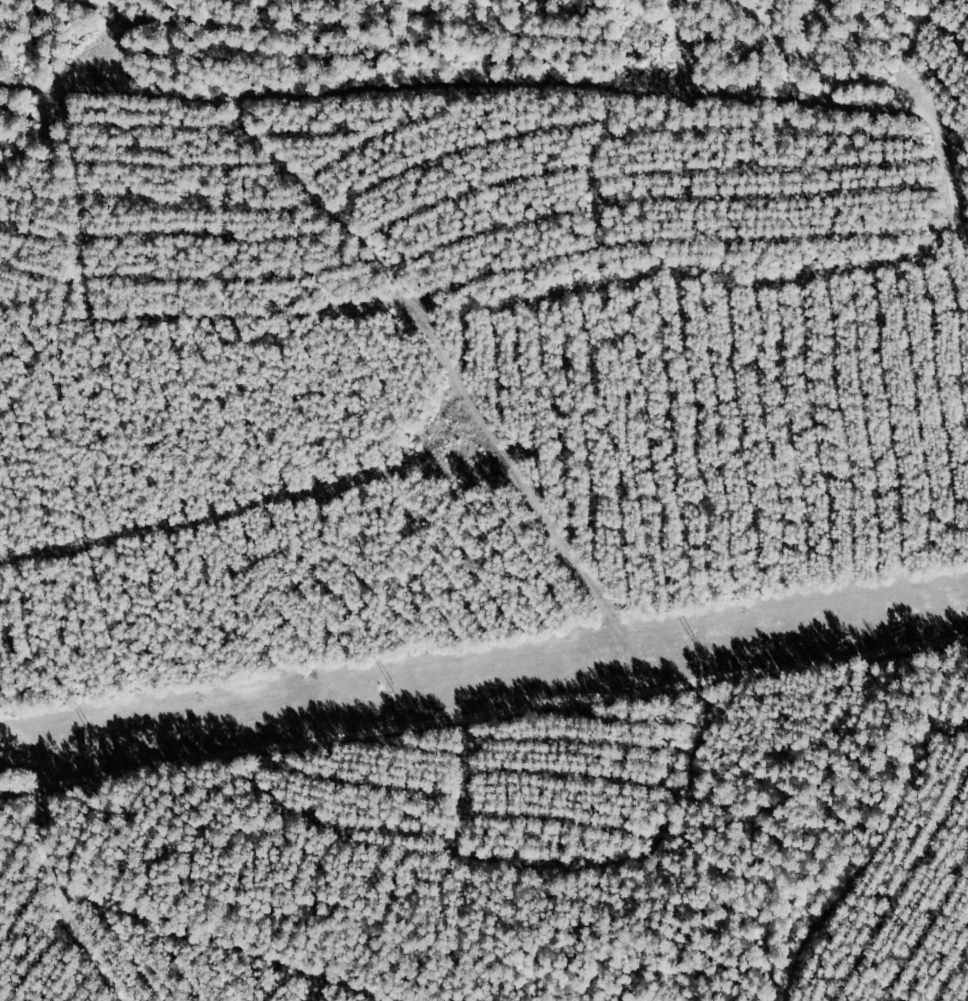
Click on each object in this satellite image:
power tower: (691, 642)
power tower: (389, 689)
power tower: (89, 733)
road: (487, 745)

